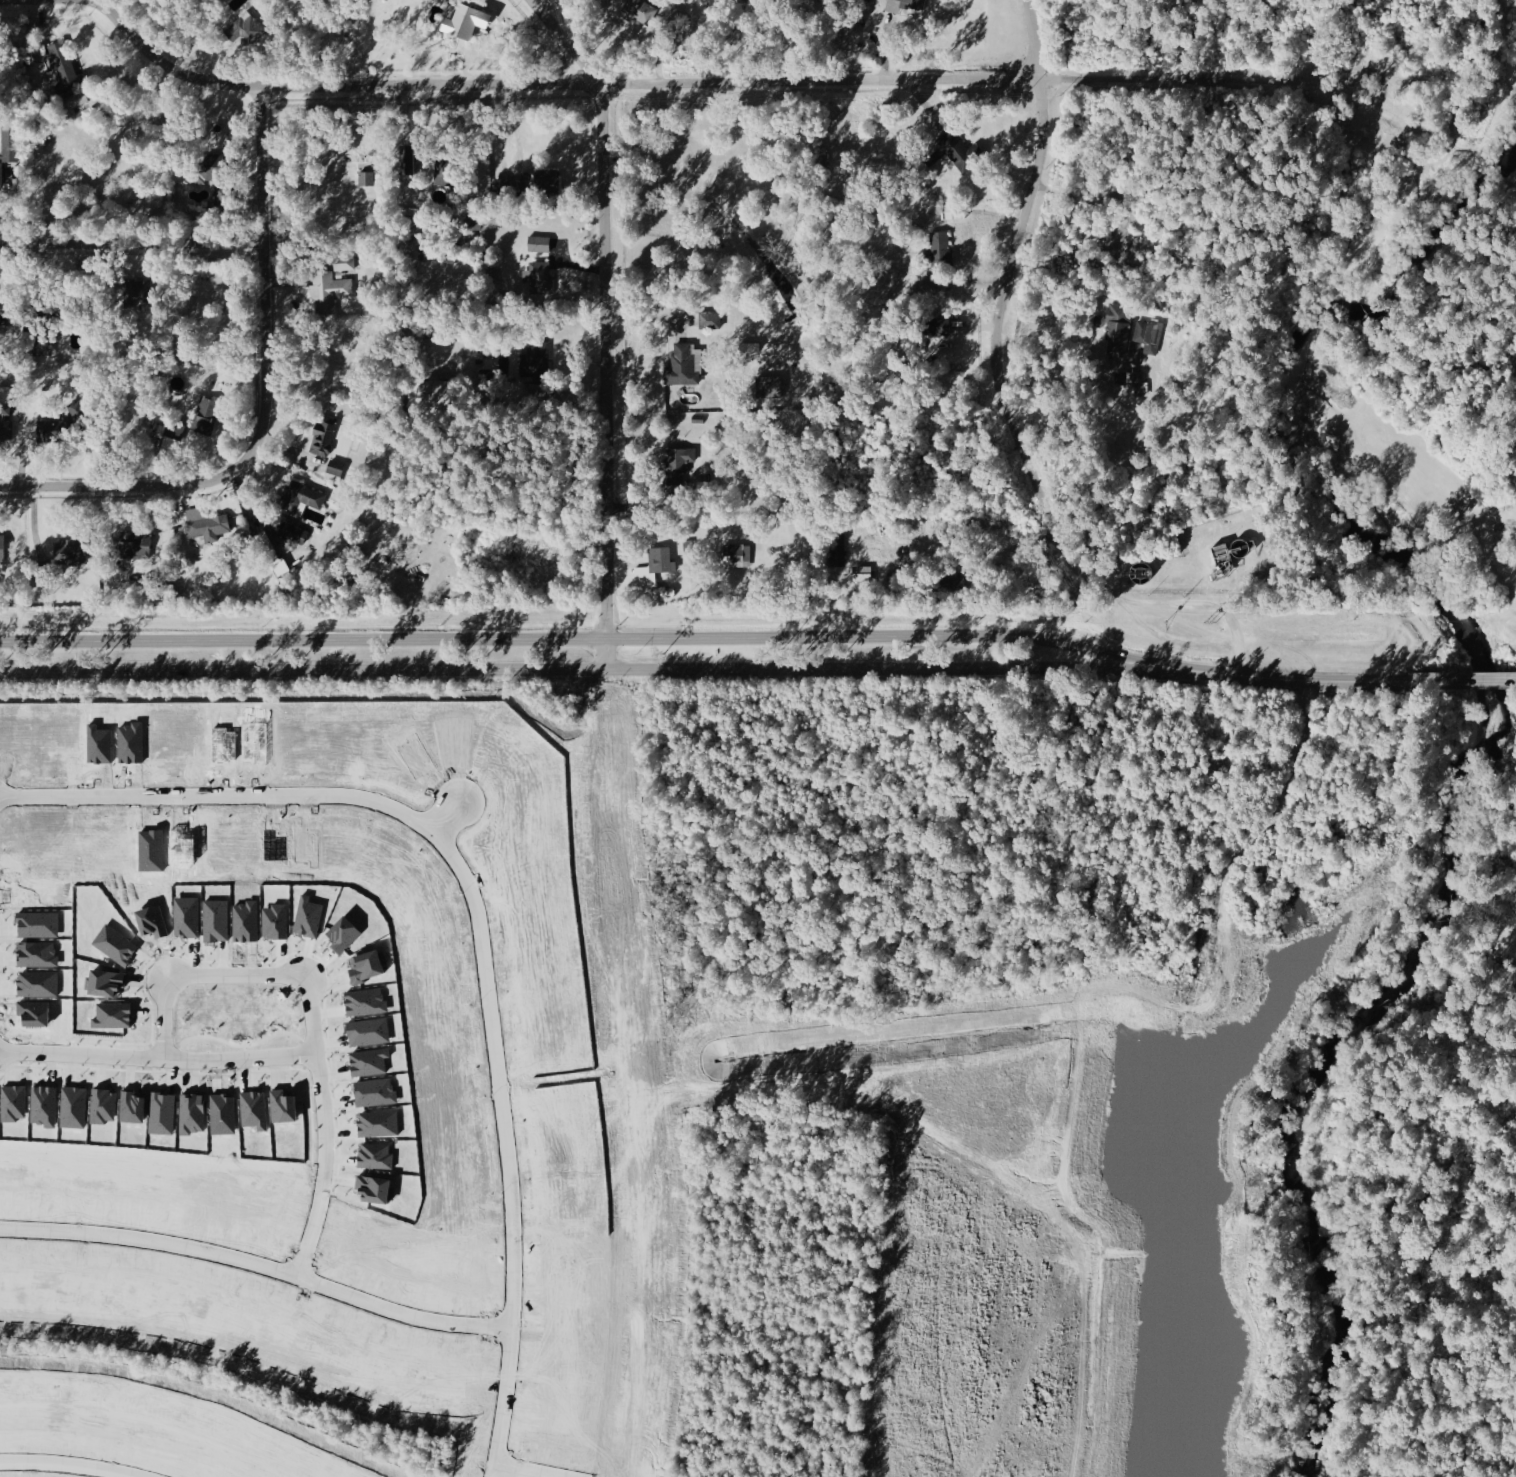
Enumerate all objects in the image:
building: (914, 3)
building: (471, 20)
building: (67, 69)
road: (688, 82)
building: (76, 99)
road: (922, 101)
building: (11, 143)
building: (960, 151)
building: (409, 156)
building: (444, 166)
building: (211, 168)
building: (1, 174)
building: (366, 177)
building: (545, 180)
building: (225, 199)
road: (1080, 199)
building: (954, 211)
building: (540, 244)
road: (130, 245)
building: (942, 249)
building: (345, 263)
road: (262, 276)
building: (540, 280)
building: (384, 281)
building: (930, 285)
building: (138, 290)
building: (329, 291)
building: (6, 308)
building: (2, 317)
building: (710, 319)
road: (603, 322)
building: (936, 326)
building: (1118, 326)
building: (1146, 331)
building: (536, 361)
building: (681, 366)
building: (1132, 383)
building: (770, 387)
road: (1002, 392)
building: (437, 393)
building: (5, 401)
building: (78, 410)
building: (211, 413)
building: (6, 428)
building: (53, 430)
building: (323, 435)
building: (173, 440)
building: (679, 464)
building: (336, 469)
road: (127, 486)
building: (302, 496)
building: (211, 525)
building: (289, 530)
building: (137, 542)
building: (688, 547)
building: (2, 548)
building: (837, 549)
building: (71, 552)
building: (274, 555)
building: (738, 555)
building: (661, 560)
building: (864, 573)
building: (645, 578)
building: (949, 584)
road: (1236, 623)
road: (620, 639)
road: (618, 671)
road: (1466, 680)
road: (1326, 682)
river: (1474, 747)
road: (221, 791)
road: (451, 804)
road: (237, 970)
road: (166, 1017)
road: (157, 1057)
road: (642, 1074)
road: (324, 1126)
road: (508, 1146)
road: (258, 1265)
road: (78, 1461)
road: (518, 1472)

